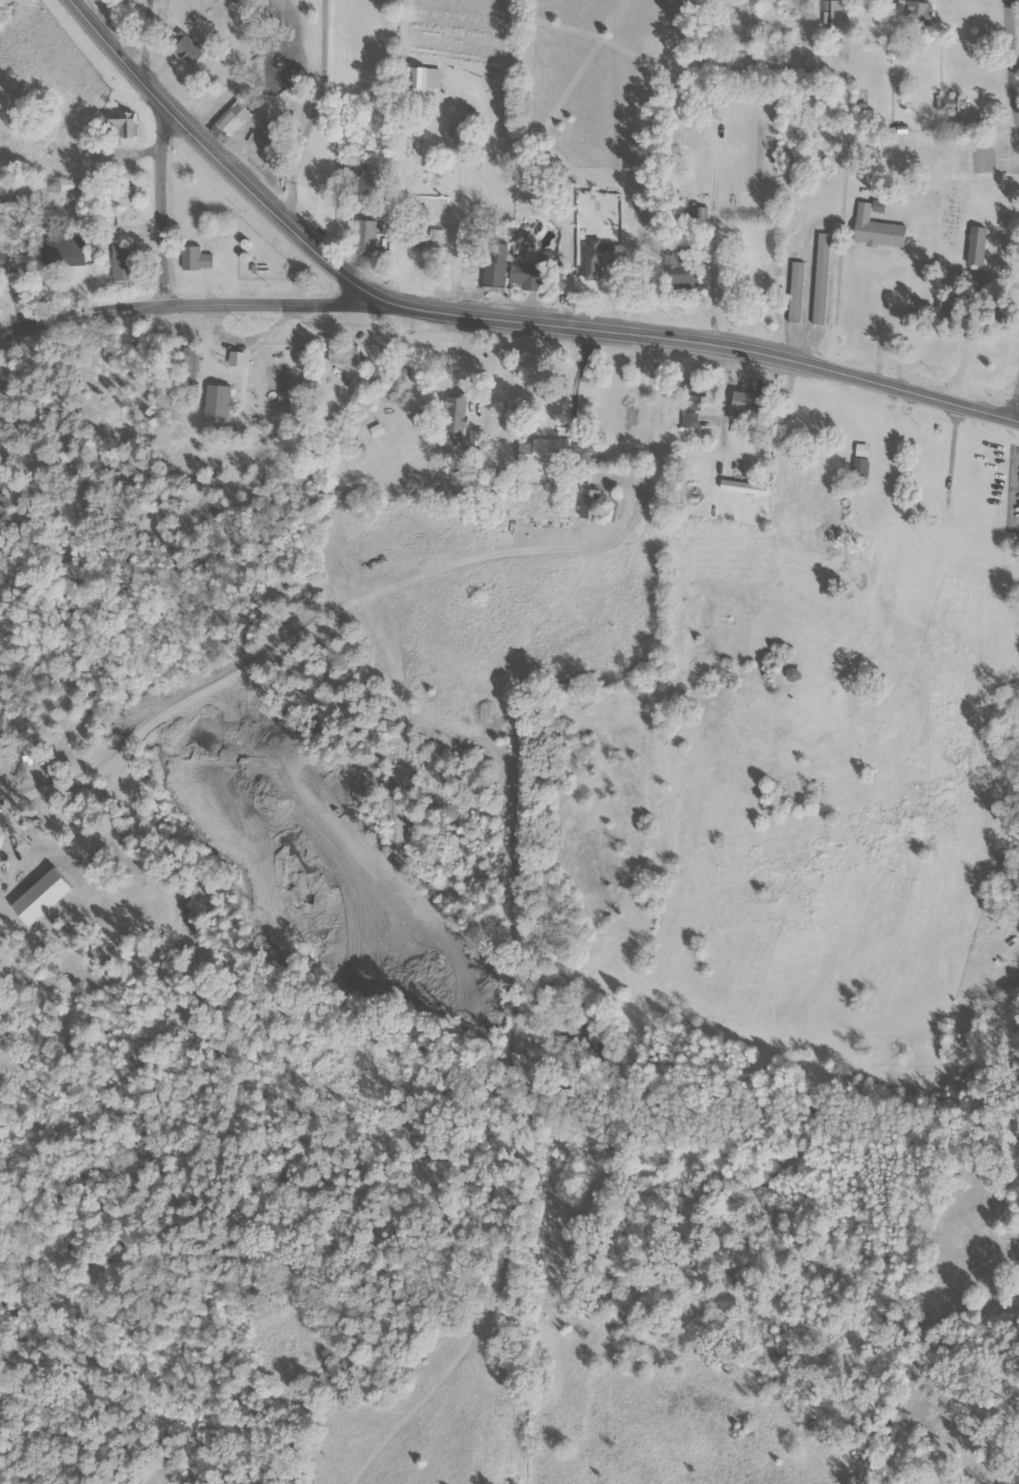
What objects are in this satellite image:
building: (914, 14)
building: (841, 18)
road: (1017, 27)
building: (186, 47)
building: (425, 79)
building: (951, 103)
road: (315, 116)
building: (124, 125)
road: (162, 151)
building: (68, 184)
building: (123, 193)
building: (732, 195)
building: (876, 227)
building: (366, 236)
building: (437, 237)
building: (977, 245)
building: (66, 251)
building: (8, 260)
building: (123, 261)
building: (604, 261)
building: (199, 264)
building: (496, 265)
building: (133, 268)
building: (532, 274)
building: (693, 276)
building: (822, 279)
building: (797, 292)
road: (620, 302)
road: (199, 304)
road: (721, 306)
road: (488, 319)
road: (253, 347)
building: (344, 354)
building: (191, 359)
building: (354, 361)
building: (203, 367)
road: (479, 382)
building: (745, 404)
building: (692, 406)
road: (733, 408)
building: (228, 410)
building: (762, 414)
building: (456, 418)
building: (385, 435)
building: (477, 437)
building: (485, 443)
building: (862, 450)
building: (556, 460)
building: (862, 469)
building: (744, 487)
building: (590, 503)
building: (602, 511)

